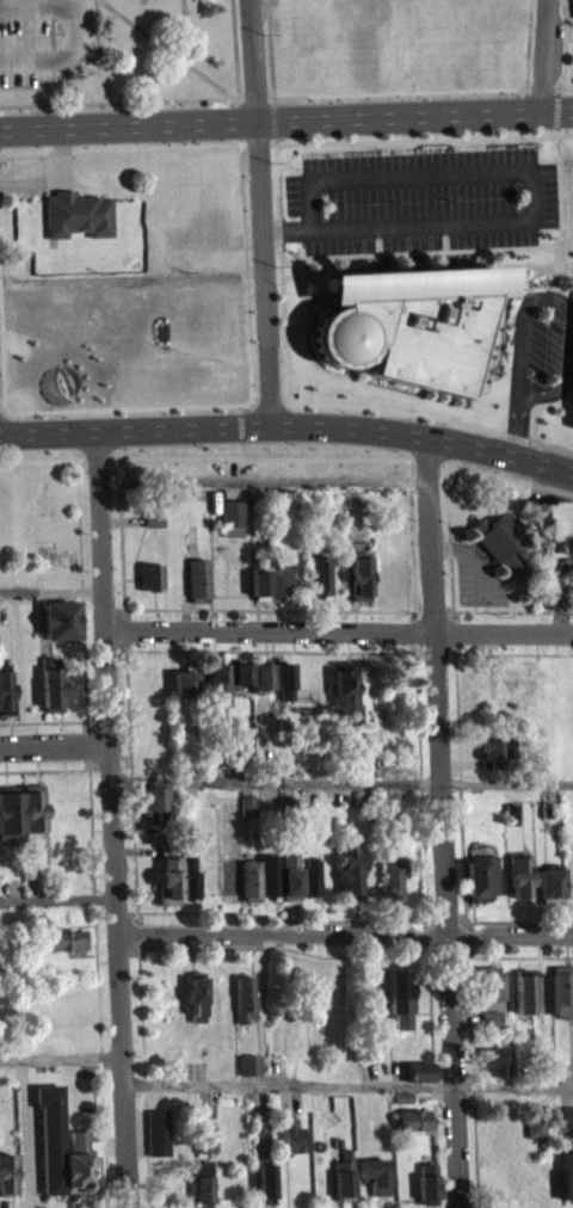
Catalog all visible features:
road: (36, 7)
road: (185, 31)
parking lot: (44, 38)
road: (566, 42)
road: (166, 48)
road: (270, 51)
road: (544, 55)
road: (62, 57)
road: (423, 90)
road: (254, 92)
road: (118, 101)
road: (556, 110)
road: (270, 117)
road: (272, 118)
road: (406, 137)
road: (273, 138)
road: (119, 148)
road: (561, 181)
road: (241, 196)
road: (531, 197)
parking lot: (421, 201)
road: (259, 212)
building: (76, 223)
road: (432, 251)
road: (281, 265)
road: (427, 267)
road: (300, 281)
road: (507, 289)
road: (565, 303)
building: (407, 322)
parking lot: (544, 345)
road: (1, 363)
road: (269, 392)
road: (130, 406)
road: (537, 406)
road: (240, 407)
road: (406, 411)
road: (517, 424)
road: (241, 425)
road: (265, 425)
road: (49, 431)
road: (241, 448)
road: (556, 449)
road: (503, 452)
road: (97, 457)
road: (260, 457)
road: (43, 458)
road: (426, 461)
road: (506, 476)
building: (230, 526)
building: (153, 529)
building: (555, 537)
building: (500, 550)
building: (318, 584)
building: (277, 585)
building: (149, 586)
building: (197, 587)
building: (358, 587)
building: (258, 592)
building: (61, 629)
road: (338, 630)
building: (238, 683)
building: (260, 685)
building: (282, 690)
building: (183, 691)
building: (50, 692)
building: (214, 694)
building: (5, 701)
building: (344, 704)
building: (242, 750)
road: (54, 753)
building: (491, 762)
road: (507, 784)
building: (150, 807)
building: (246, 815)
building: (31, 816)
road: (110, 819)
road: (444, 822)
building: (510, 822)
building: (10, 825)
building: (159, 827)
building: (350, 879)
building: (392, 882)
building: (310, 886)
building: (518, 886)
building: (258, 887)
building: (288, 887)
building: (480, 887)
building: (175, 888)
building: (548, 894)
road: (56, 896)
road: (344, 931)
building: (62, 949)
building: (561, 987)
building: (487, 992)
building: (396, 1001)
building: (542, 1001)
building: (522, 1003)
building: (195, 1006)
building: (244, 1007)
building: (488, 1028)
road: (60, 1058)
building: (492, 1068)
building: (248, 1073)
building: (418, 1080)
road: (286, 1083)
road: (512, 1085)
building: (566, 1126)
building: (412, 1129)
building: (534, 1136)
building: (156, 1141)
building: (289, 1146)
building: (204, 1148)
building: (60, 1157)
building: (566, 1183)
building: (6, 1184)
building: (374, 1184)
building: (343, 1185)
building: (199, 1189)
building: (264, 1190)
building: (425, 1190)

